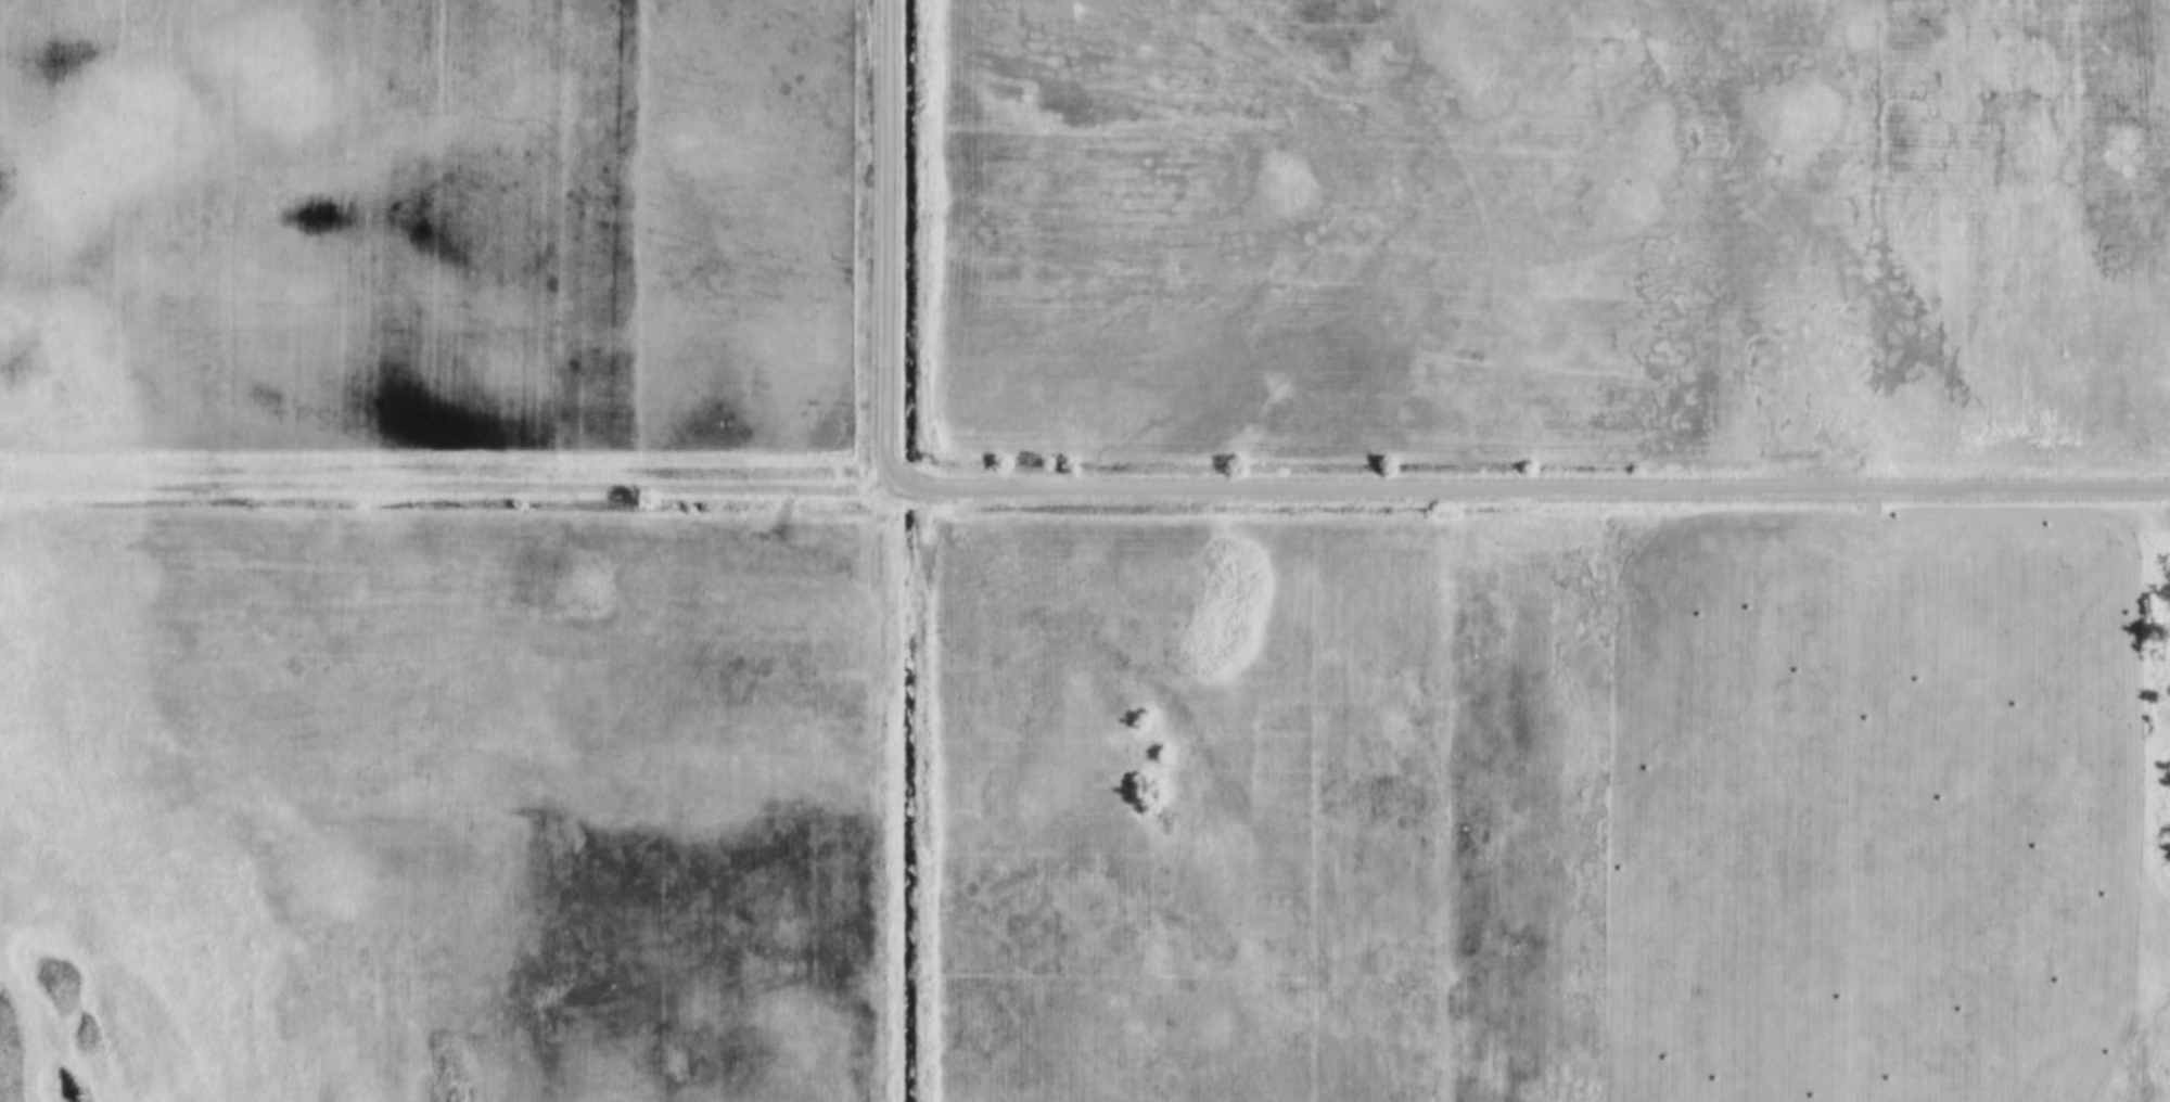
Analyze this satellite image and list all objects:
road: (885, 246)
road: (442, 487)
road: (1528, 492)

